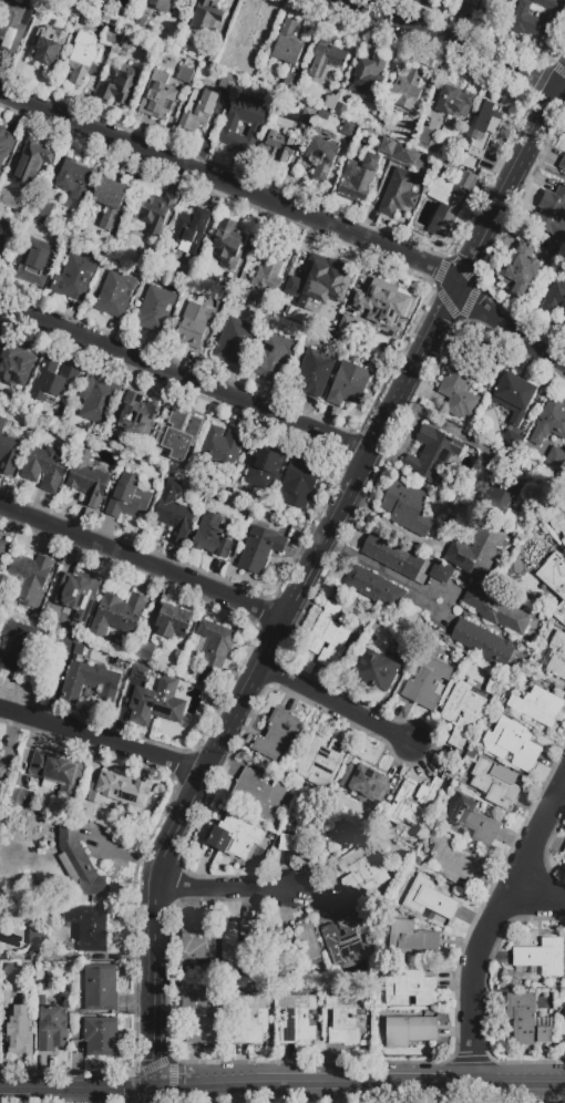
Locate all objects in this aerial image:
building: (503, 0)
building: (474, 2)
building: (161, 4)
building: (80, 6)
building: (40, 9)
building: (206, 16)
building: (537, 18)
building: (117, 24)
building: (12, 27)
building: (248, 30)
building: (111, 35)
building: (125, 41)
building: (49, 44)
building: (287, 44)
road: (453, 44)
building: (213, 55)
building: (83, 56)
building: (326, 58)
building: (185, 75)
building: (368, 75)
building: (294, 81)
building: (226, 82)
building: (123, 86)
building: (408, 92)
building: (158, 95)
building: (332, 97)
building: (454, 102)
building: (198, 110)
building: (340, 110)
building: (323, 115)
building: (307, 116)
building: (484, 127)
building: (348, 128)
building: (228, 130)
building: (428, 141)
building: (6, 145)
building: (388, 146)
building: (278, 147)
building: (404, 152)
building: (322, 157)
building: (32, 162)
building: (563, 163)
road: (544, 168)
building: (359, 177)
building: (73, 179)
road: (232, 185)
building: (400, 192)
building: (4, 198)
building: (110, 202)
building: (449, 202)
building: (74, 208)
building: (45, 210)
building: (157, 213)
building: (552, 213)
building: (191, 231)
building: (105, 240)
building: (228, 245)
building: (3, 247)
building: (552, 249)
building: (35, 261)
building: (522, 270)
building: (268, 274)
building: (311, 277)
building: (74, 278)
building: (234, 288)
building: (115, 293)
building: (555, 300)
building: (383, 305)
building: (155, 308)
building: (285, 310)
building: (195, 326)
road: (508, 327)
building: (234, 340)
building: (379, 351)
road: (517, 351)
building: (274, 357)
building: (17, 367)
building: (315, 372)
building: (53, 381)
road: (185, 381)
building: (348, 384)
building: (460, 385)
building: (513, 396)
building: (97, 399)
building: (137, 415)
building: (552, 431)
building: (178, 434)
building: (511, 440)
building: (222, 449)
building: (8, 451)
building: (433, 455)
building: (44, 467)
building: (264, 470)
building: (88, 480)
building: (298, 484)
building: (497, 489)
building: (127, 498)
building: (407, 507)
building: (175, 513)
building: (555, 519)
building: (212, 537)
building: (3, 549)
building: (260, 549)
building: (476, 550)
building: (391, 556)
road: (142, 561)
road: (386, 571)
building: (440, 571)
road: (309, 573)
building: (29, 577)
building: (555, 581)
building: (376, 588)
building: (72, 596)
building: (496, 610)
building: (117, 615)
building: (173, 621)
building: (328, 636)
building: (483, 643)
building: (71, 645)
building: (22, 648)
building: (215, 648)
building: (146, 651)
building: (556, 656)
building: (376, 670)
building: (141, 673)
building: (427, 682)
building: (90, 683)
building: (156, 703)
road: (337, 705)
building: (537, 705)
building: (463, 711)
building: (278, 738)
road: (102, 741)
building: (512, 744)
building: (0, 745)
street lamp: (191, 750)
street lamp: (429, 756)
building: (321, 761)
building: (58, 771)
building: (3, 773)
building: (364, 783)
building: (494, 784)
building: (119, 791)
building: (257, 794)
building: (21, 797)
building: (411, 803)
building: (85, 811)
building: (471, 823)
building: (310, 833)
building: (234, 837)
building: (564, 852)
road: (121, 856)
road: (526, 856)
building: (452, 860)
building: (79, 864)
building: (361, 868)
road: (222, 888)
building: (428, 898)
building: (88, 927)
building: (346, 934)
building: (37, 937)
building: (198, 938)
building: (411, 939)
building: (238, 944)
building: (297, 947)
building: (542, 956)
building: (9, 970)
road: (470, 978)
building: (410, 988)
building: (101, 989)
building: (6, 999)
building: (43, 1001)
building: (203, 1018)
building: (249, 1019)
building: (343, 1019)
building: (297, 1020)
building: (527, 1020)
building: (19, 1027)
building: (53, 1030)
building: (410, 1030)
building: (101, 1037)
road: (532, 1069)
road: (358, 1084)
traffic signals: (152, 1091)
road: (75, 1092)
road: (152, 1096)

